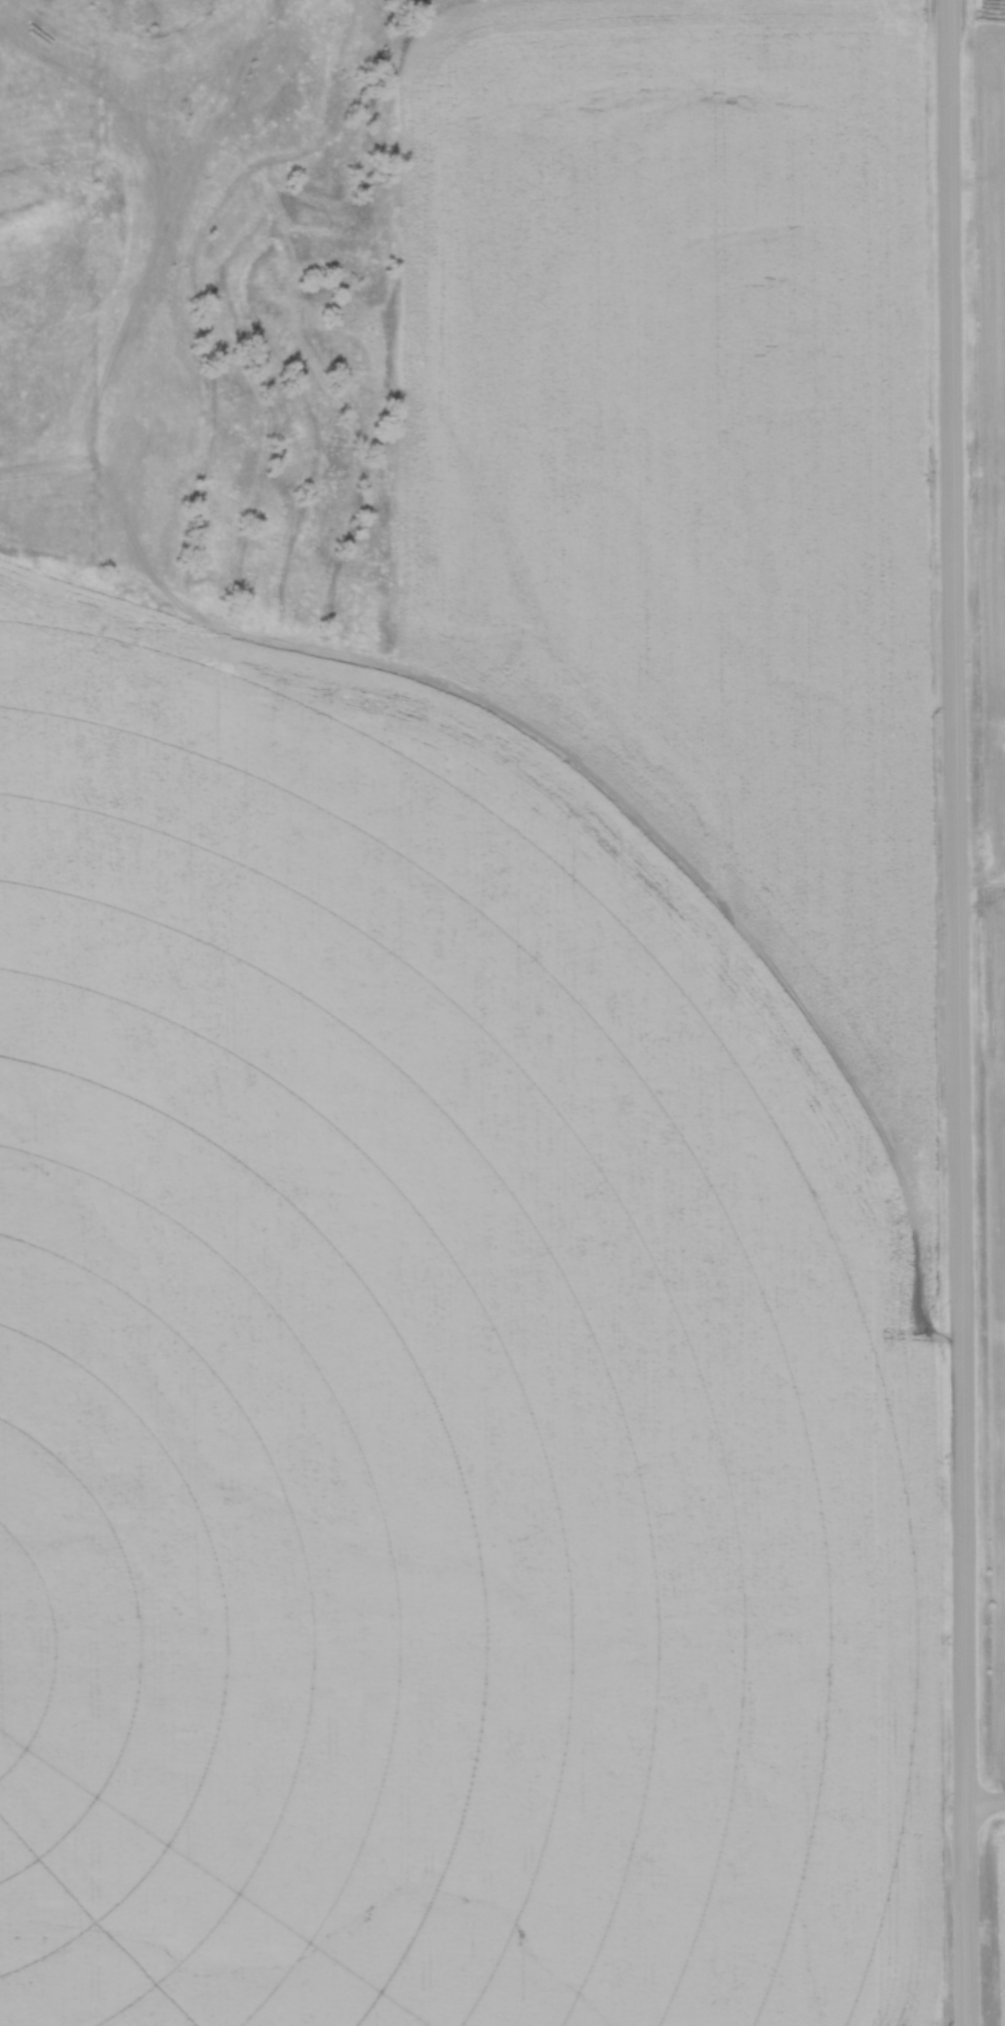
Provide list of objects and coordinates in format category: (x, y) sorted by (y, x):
road: (957, 1012)
road: (984, 1802)

